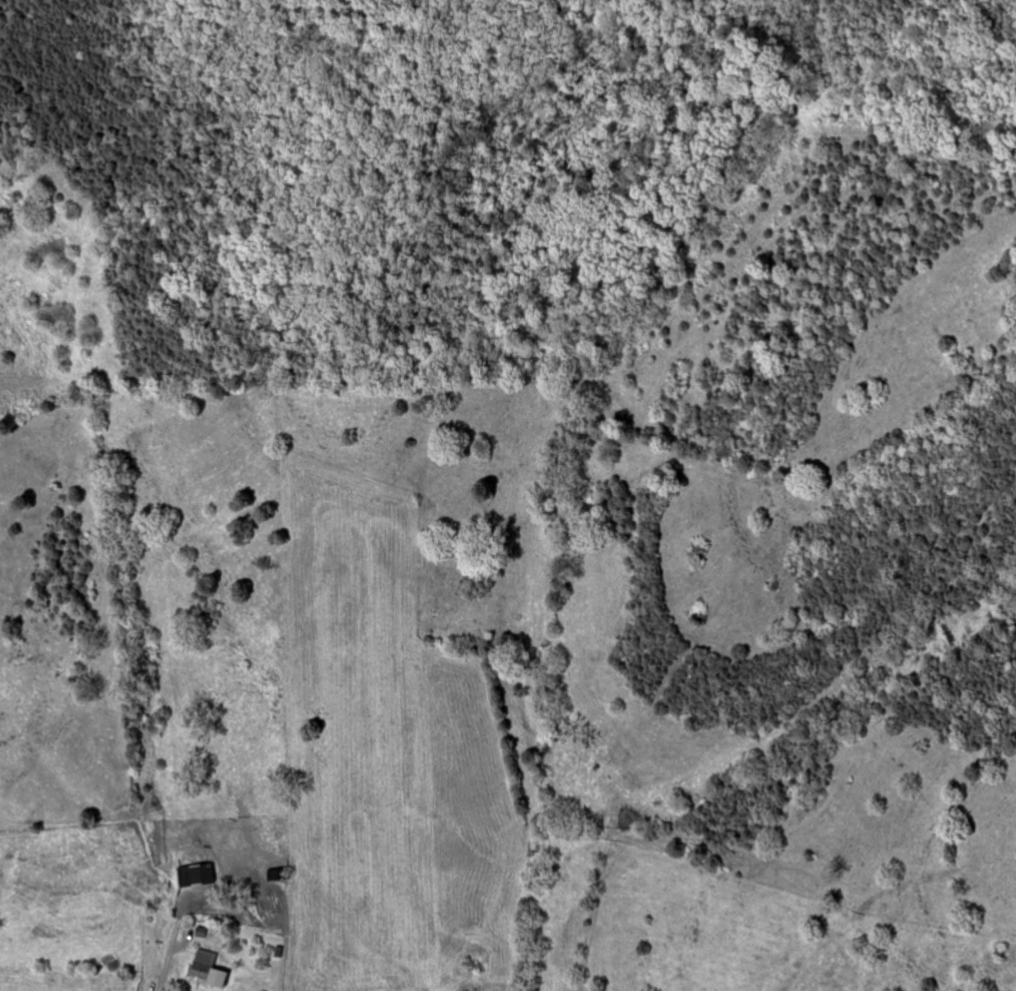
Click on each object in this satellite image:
building: (197, 876)
road: (165, 957)
building: (209, 971)

